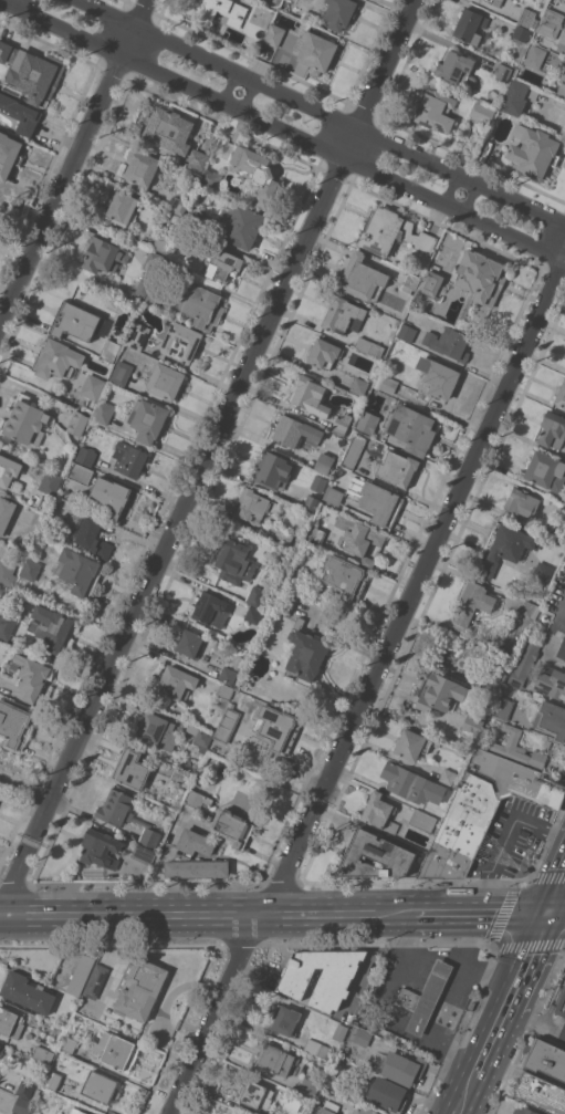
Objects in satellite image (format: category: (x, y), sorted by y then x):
building: (278, 1)
building: (489, 1)
road: (27, 3)
building: (226, 10)
building: (341, 13)
building: (526, 17)
building: (551, 22)
building: (472, 27)
road: (136, 28)
building: (522, 33)
building: (274, 34)
building: (563, 38)
building: (317, 52)
building: (535, 56)
building: (457, 70)
building: (33, 72)
building: (502, 73)
road: (383, 80)
building: (562, 85)
road: (228, 89)
building: (517, 96)
building: (564, 97)
road: (251, 100)
building: (436, 111)
building: (482, 112)
building: (20, 113)
road: (317, 113)
building: (168, 129)
road: (285, 132)
building: (534, 150)
building: (9, 154)
building: (197, 159)
building: (142, 168)
building: (258, 174)
building: (211, 178)
road: (62, 190)
road: (449, 190)
road: (472, 200)
building: (178, 206)
building: (122, 208)
building: (193, 218)
building: (240, 223)
building: (393, 233)
building: (160, 242)
building: (104, 256)
building: (153, 262)
building: (168, 262)
building: (222, 264)
building: (480, 275)
building: (363, 278)
building: (410, 282)
building: (431, 282)
building: (143, 288)
building: (154, 299)
building: (201, 304)
building: (344, 315)
building: (74, 321)
building: (407, 333)
building: (137, 335)
building: (181, 342)
building: (449, 343)
building: (369, 347)
building: (109, 350)
building: (323, 352)
building: (56, 360)
building: (122, 373)
building: (437, 377)
building: (166, 381)
building: (388, 384)
building: (359, 386)
building: (93, 387)
building: (310, 395)
building: (561, 395)
building: (104, 412)
building: (147, 419)
building: (25, 421)
building: (367, 421)
building: (77, 423)
building: (342, 424)
building: (410, 428)
building: (553, 430)
building: (301, 433)
building: (354, 451)
building: (86, 455)
building: (129, 459)
building: (324, 462)
building: (397, 468)
building: (274, 469)
building: (8, 470)
building: (545, 470)
building: (82, 473)
building: (50, 482)
building: (318, 483)
building: (333, 494)
building: (109, 496)
road: (190, 501)
building: (311, 502)
building: (375, 502)
building: (522, 502)
building: (564, 503)
building: (254, 504)
building: (6, 513)
road: (446, 524)
building: (316, 534)
building: (93, 537)
building: (282, 537)
building: (359, 538)
building: (559, 538)
building: (504, 548)
building: (234, 560)
building: (31, 570)
building: (79, 571)
building: (296, 573)
building: (542, 573)
building: (7, 574)
building: (346, 577)
building: (255, 596)
building: (286, 598)
building: (269, 601)
building: (471, 605)
building: (211, 608)
building: (523, 613)
building: (253, 615)
building: (7, 625)
building: (51, 627)
building: (190, 643)
building: (562, 649)
building: (305, 655)
building: (238, 662)
building: (524, 663)
building: (502, 671)
building: (32, 675)
building: (228, 675)
building: (552, 681)
building: (177, 683)
building: (224, 690)
building: (440, 693)
building: (503, 708)
building: (477, 719)
building: (552, 719)
building: (227, 723)
building: (14, 725)
building: (276, 727)
building: (157, 730)
building: (200, 737)
building: (411, 743)
building: (547, 743)
building: (517, 748)
building: (132, 769)
building: (179, 775)
building: (448, 777)
building: (412, 784)
building: (1, 793)
road: (324, 794)
building: (197, 799)
road: (321, 801)
building: (484, 810)
building: (379, 812)
building: (126, 815)
building: (422, 820)
building: (232, 826)
road: (504, 836)
building: (0, 843)
building: (101, 848)
building: (189, 852)
building: (144, 854)
building: (375, 856)
road: (18, 878)
road: (555, 888)
road: (478, 909)
traffic signals: (546, 909)
road: (555, 909)
road: (339, 913)
road: (133, 915)
road: (411, 950)
road: (247, 958)
road: (368, 961)
road: (258, 972)
road: (493, 974)
building: (81, 975)
building: (322, 976)
building: (95, 982)
building: (564, 983)
building: (140, 988)
road: (509, 990)
building: (28, 992)
building: (426, 997)
road: (456, 1000)
building: (561, 1004)
building: (364, 1007)
building: (81, 1009)
road: (534, 1018)
building: (8, 1019)
building: (285, 1020)
building: (341, 1032)
building: (360, 1037)
building: (69, 1044)
building: (317, 1048)
building: (1, 1049)
building: (118, 1051)
building: (43, 1053)
building: (274, 1059)
building: (546, 1059)
building: (401, 1068)
building: (53, 1080)
building: (333, 1081)
building: (101, 1086)
building: (308, 1087)
building: (24, 1090)
road: (462, 1093)
building: (541, 1093)
building: (255, 1094)
building: (388, 1094)
building: (22, 1105)
building: (329, 1107)
building: (77, 1111)
building: (364, 1111)
building: (526, 1111)
building: (229, 1113)

